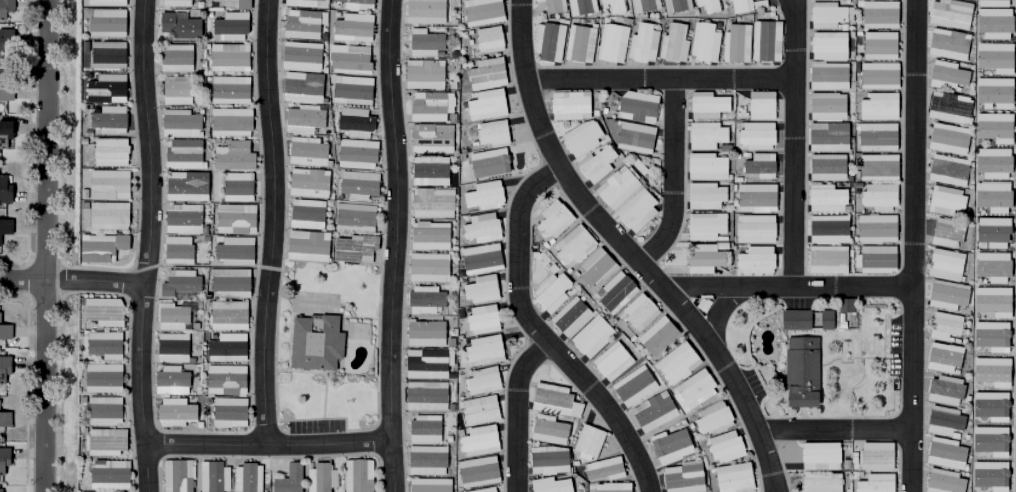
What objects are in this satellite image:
building: (194, 0)
building: (1006, 0)
building: (104, 3)
building: (174, 3)
building: (299, 3)
building: (705, 3)
building: (4, 4)
building: (737, 4)
building: (241, 5)
building: (353, 5)
building: (643, 5)
building: (551, 6)
building: (675, 6)
building: (580, 7)
building: (613, 7)
building: (825, 11)
building: (423, 12)
building: (480, 12)
building: (876, 12)
building: (947, 12)
building: (991, 22)
building: (105, 24)
building: (302, 25)
building: (178, 27)
building: (229, 27)
building: (352, 28)
building: (4, 37)
building: (762, 37)
building: (732, 39)
building: (488, 40)
building: (944, 40)
building: (699, 41)
building: (825, 42)
building: (875, 42)
building: (547, 43)
building: (423, 44)
building: (611, 44)
building: (641, 44)
building: (579, 45)
building: (672, 45)
building: (105, 56)
building: (299, 57)
building: (991, 57)
building: (227, 58)
building: (174, 59)
building: (348, 60)
building: (465, 65)
building: (943, 71)
building: (874, 72)
building: (824, 73)
building: (422, 75)
building: (485, 75)
road: (659, 80)
building: (451, 86)
building: (4, 87)
road: (526, 87)
building: (105, 88)
building: (300, 88)
building: (175, 91)
building: (227, 91)
building: (350, 91)
building: (991, 91)
building: (756, 101)
building: (705, 102)
building: (823, 102)
building: (873, 102)
building: (945, 104)
building: (485, 106)
building: (569, 106)
building: (428, 107)
building: (636, 107)
building: (451, 118)
building: (301, 120)
building: (107, 121)
building: (228, 122)
building: (177, 123)
building: (354, 123)
building: (2, 125)
building: (990, 127)
building: (703, 131)
building: (752, 132)
building: (824, 133)
building: (873, 133)
building: (492, 134)
building: (944, 134)
building: (634, 139)
building: (430, 140)
building: (581, 140)
road: (795, 144)
building: (305, 152)
building: (108, 153)
building: (355, 154)
building: (183, 155)
building: (232, 158)
building: (989, 161)
building: (756, 162)
building: (703, 163)
building: (491, 164)
building: (822, 164)
building: (874, 164)
building: (595, 165)
building: (944, 166)
building: (428, 172)
road: (674, 178)
building: (459, 181)
building: (108, 184)
building: (307, 184)
building: (357, 185)
building: (3, 187)
building: (235, 187)
building: (185, 188)
building: (615, 188)
building: (702, 193)
building: (751, 194)
building: (874, 194)
building: (822, 195)
building: (990, 196)
building: (483, 197)
building: (942, 197)
building: (431, 204)
building: (635, 211)
building: (305, 215)
building: (107, 217)
building: (353, 218)
building: (181, 219)
building: (233, 220)
building: (552, 221)
building: (5, 222)
building: (703, 222)
road: (272, 223)
building: (872, 224)
building: (749, 225)
building: (824, 225)
building: (480, 229)
building: (942, 230)
building: (990, 231)
building: (428, 237)
building: (304, 244)
road: (42, 245)
road: (394, 245)
road: (147, 246)
road: (912, 246)
building: (572, 247)
building: (99, 249)
building: (353, 249)
building: (175, 251)
building: (233, 252)
building: (700, 255)
building: (823, 255)
building: (873, 256)
building: (750, 257)
building: (479, 260)
building: (941, 260)
building: (990, 265)
building: (427, 268)
building: (595, 269)
road: (72, 281)
building: (181, 282)
building: (229, 284)
road: (707, 289)
building: (480, 291)
building: (943, 291)
building: (550, 294)
building: (615, 294)
building: (424, 300)
building: (991, 301)
building: (841, 302)
road: (714, 310)
building: (99, 313)
building: (638, 313)
building: (226, 316)
building: (170, 317)
building: (792, 317)
building: (823, 317)
building: (568, 318)
building: (481, 321)
building: (941, 323)
road: (531, 325)
building: (4, 327)
building: (422, 335)
building: (658, 337)
building: (590, 338)
building: (314, 343)
building: (448, 344)
building: (103, 345)
building: (226, 348)
building: (171, 349)
building: (483, 352)
building: (939, 355)
building: (3, 363)
building: (611, 363)
building: (426, 364)
building: (676, 365)
building: (797, 368)
building: (991, 371)
building: (101, 379)
building: (223, 380)
building: (169, 382)
building: (481, 382)
road: (732, 382)
building: (632, 387)
building: (940, 387)
building: (693, 391)
building: (424, 396)
building: (552, 402)
road: (607, 410)
building: (102, 411)
building: (478, 411)
building: (228, 413)
building: (652, 413)
building: (173, 414)
building: (709, 415)
building: (940, 417)
building: (4, 422)
building: (423, 430)
road: (834, 431)
building: (548, 432)
building: (104, 442)
building: (586, 442)
building: (478, 443)
building: (721, 444)
road: (268, 447)
building: (668, 447)
building: (941, 450)
building: (815, 453)
building: (872, 453)
building: (2, 456)
building: (425, 461)
building: (547, 461)
building: (602, 470)
building: (476, 473)
building: (729, 475)
building: (108, 476)
building: (357, 476)
building: (175, 477)
building: (212, 478)
building: (246, 478)
building: (680, 478)
building: (319, 479)
building: (288, 480)
building: (939, 480)
building: (817, 481)
building: (871, 481)
building: (428, 486)
building: (548, 486)
building: (614, 487)
building: (0, 490)
building: (486, 490)

